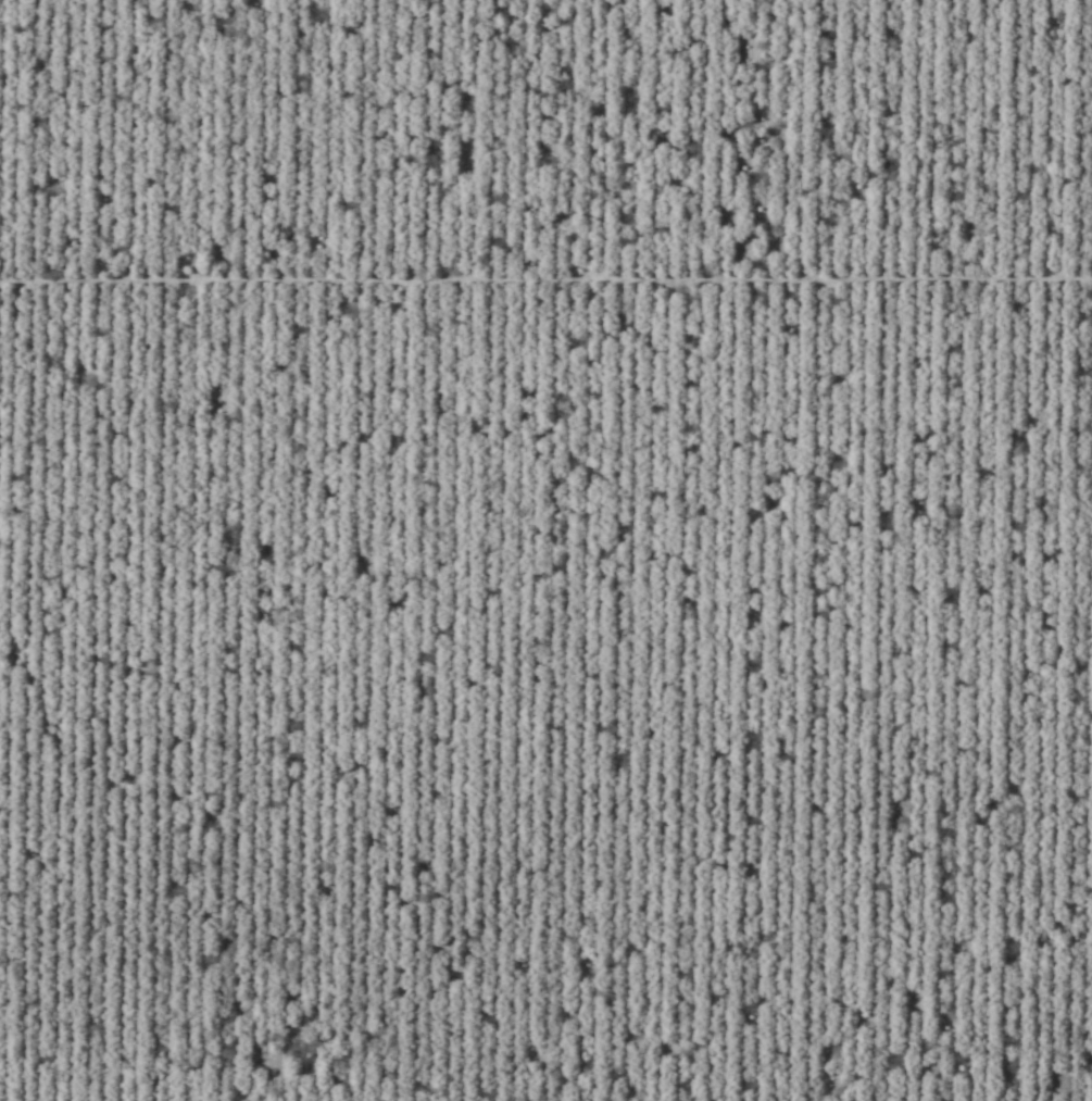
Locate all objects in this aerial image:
crop: (545, 550)

